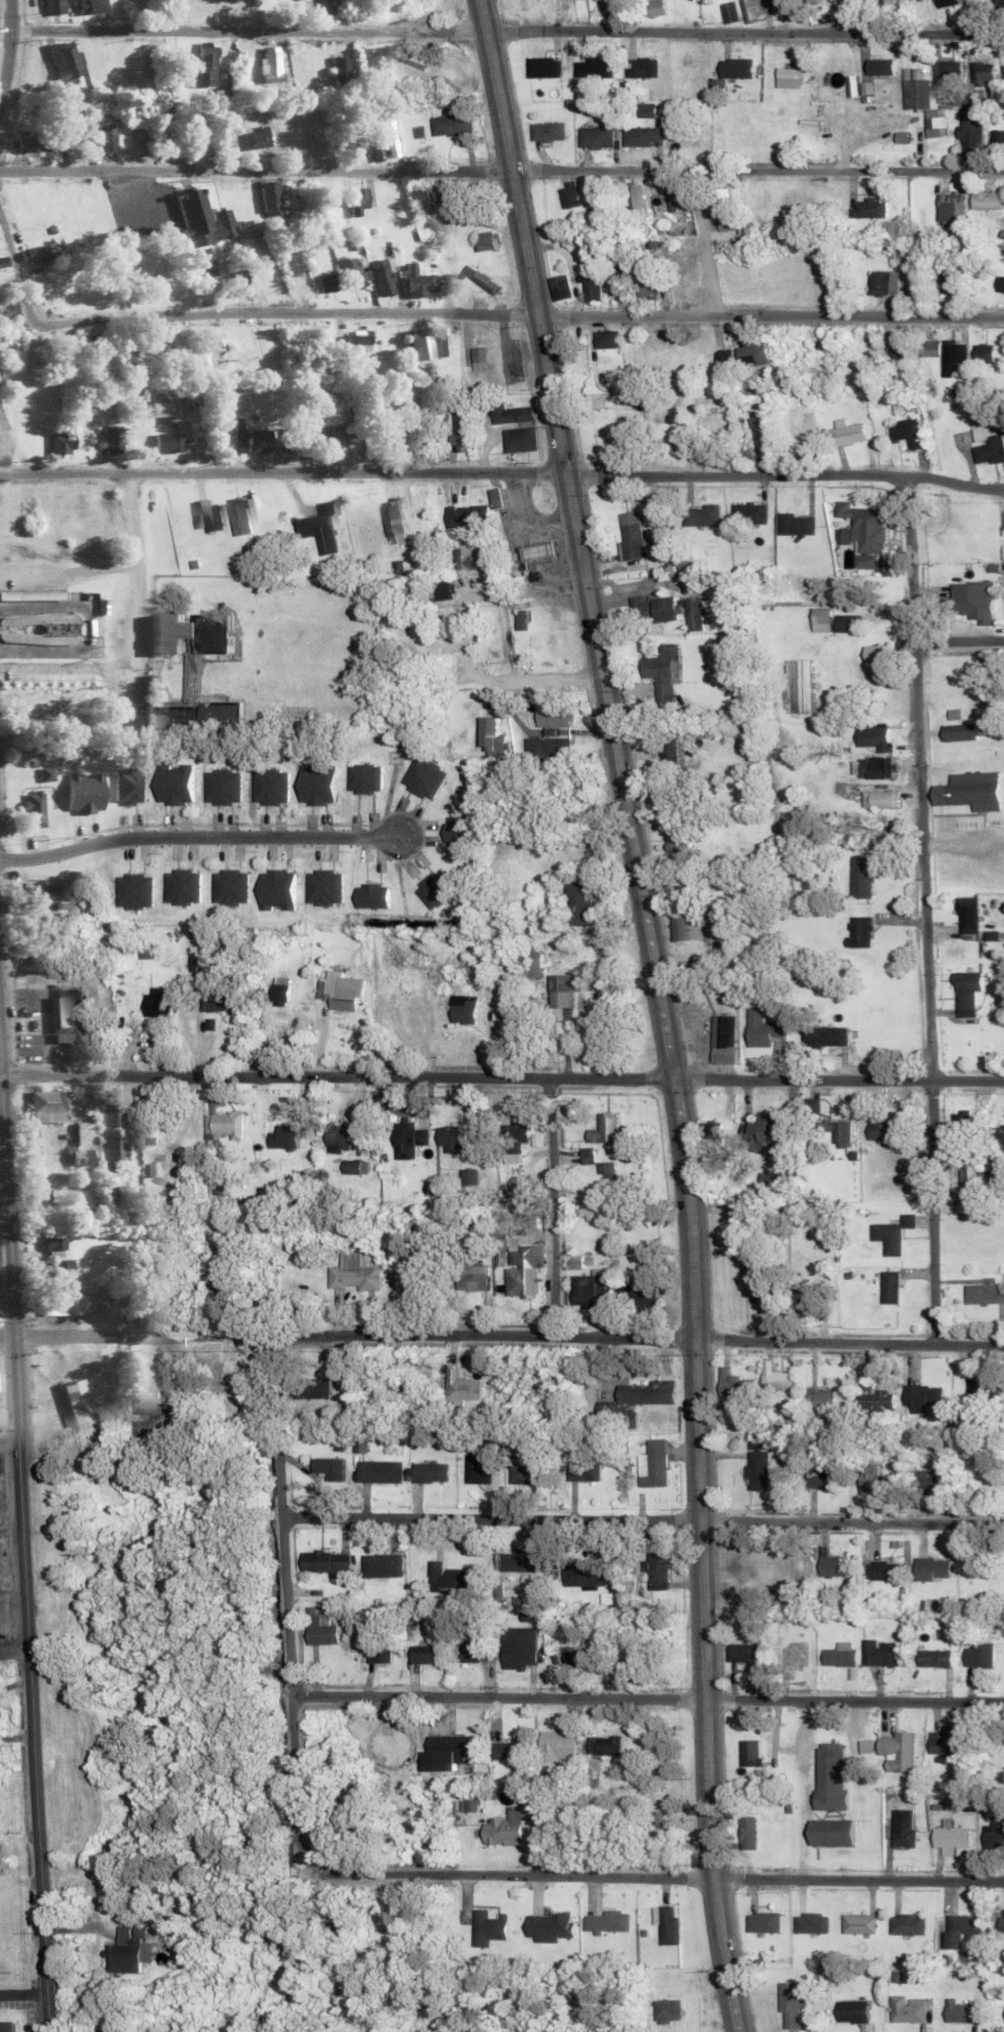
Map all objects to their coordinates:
road: (859, 14)
road: (244, 25)
road: (746, 26)
road: (7, 44)
road: (501, 168)
road: (16, 268)
road: (517, 310)
road: (502, 470)
road: (134, 579)
road: (959, 637)
road: (50, 662)
road: (919, 773)
road: (194, 838)
road: (665, 1010)
road: (502, 1072)
road: (556, 1201)
road: (933, 1207)
road: (3, 1210)
road: (502, 1330)
road: (643, 1515)
road: (27, 1551)
road: (16, 1644)
road: (648, 1692)
road: (388, 1869)

